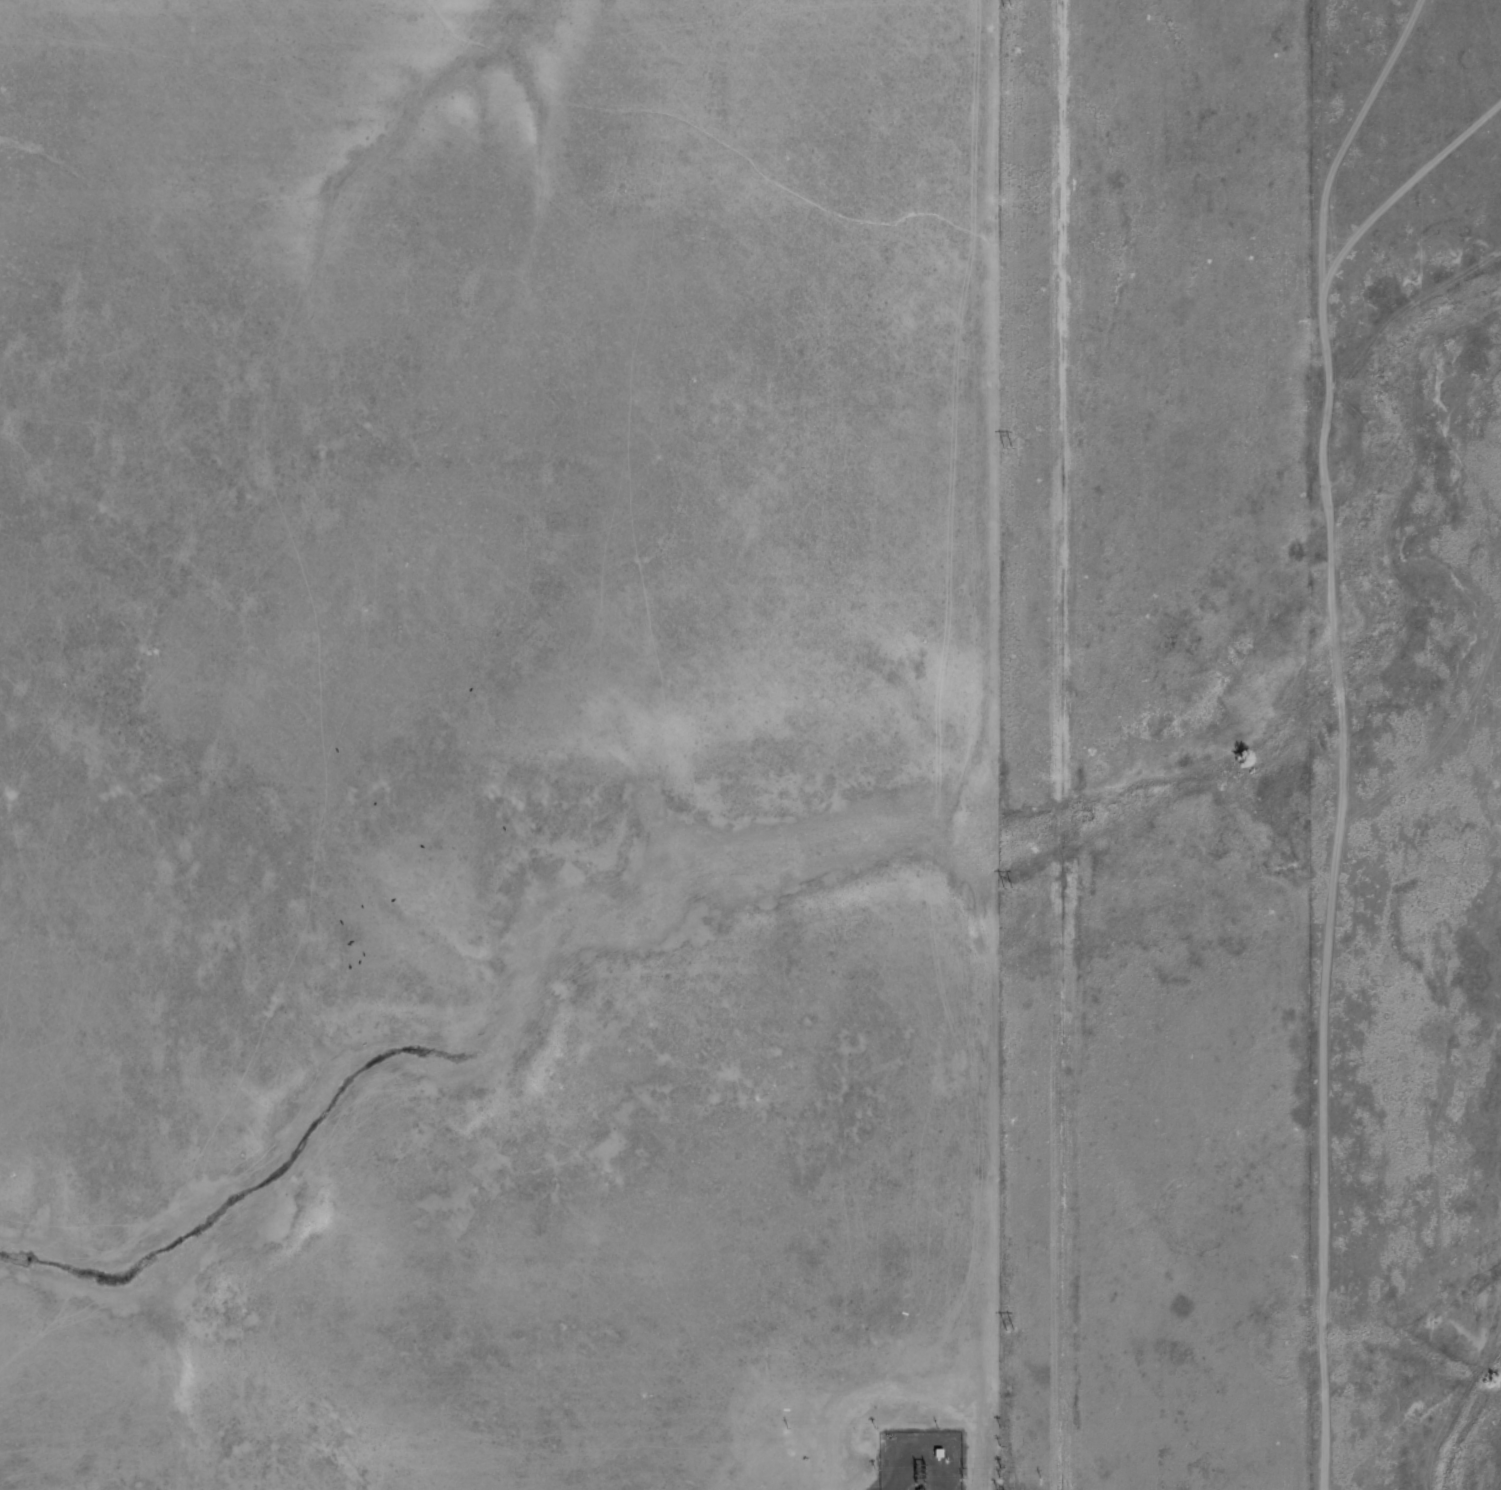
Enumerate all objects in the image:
power substation: (918, 1460)

